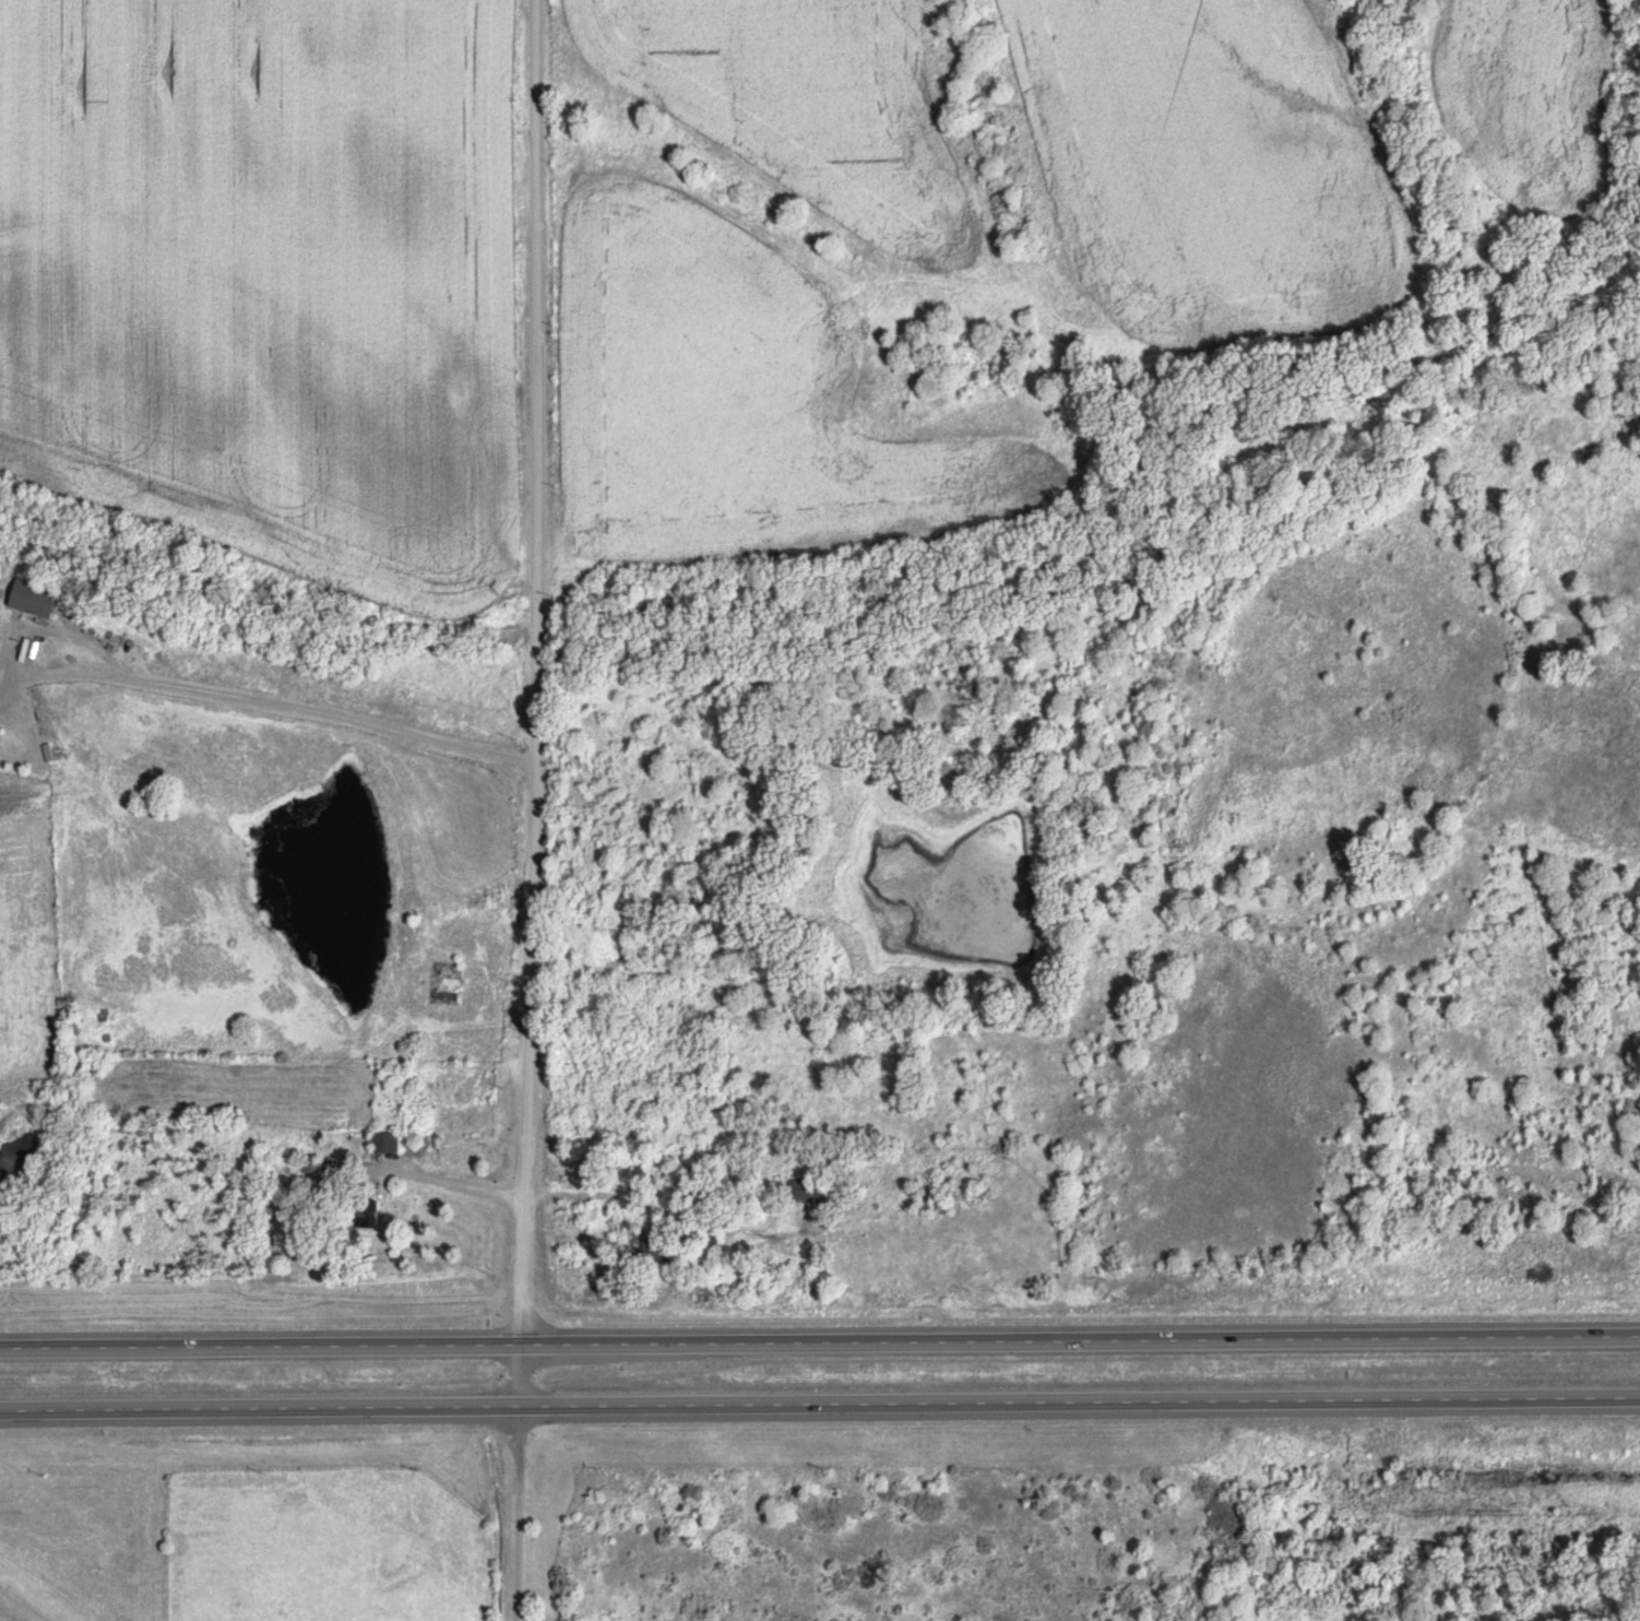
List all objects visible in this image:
building: (31, 597)
road: (538, 811)
building: (441, 982)
building: (382, 1143)
building: (307, 1163)
building: (808, 1192)
building: (363, 1215)
building: (650, 1249)
road: (819, 1341)
road: (819, 1405)

